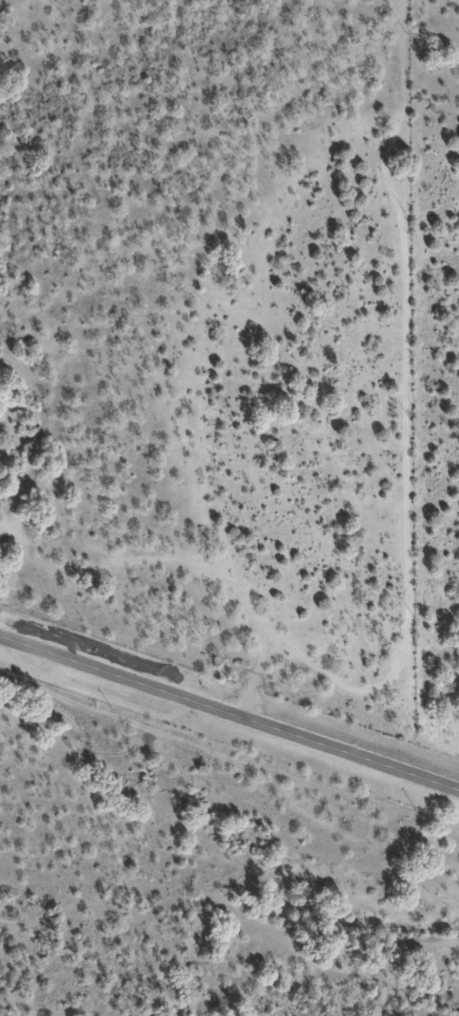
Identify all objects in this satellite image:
road: (193, 578)
road: (229, 708)
road: (380, 708)

